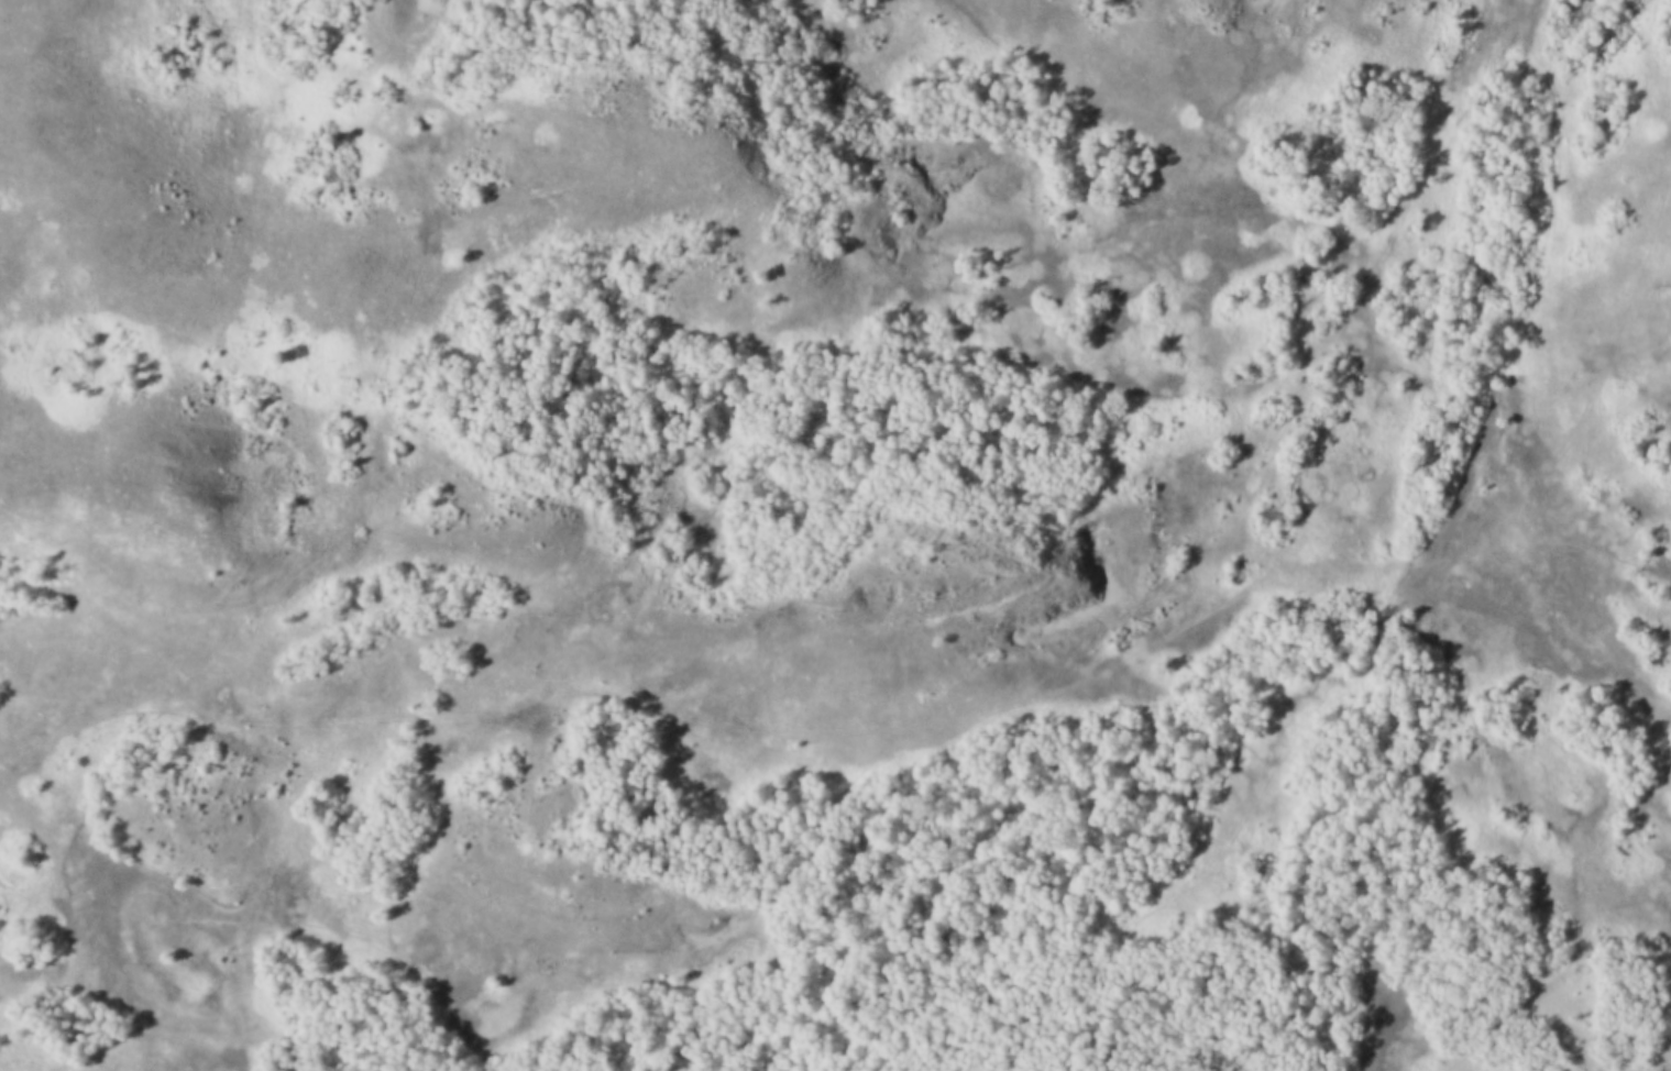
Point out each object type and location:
road: (761, 731)

